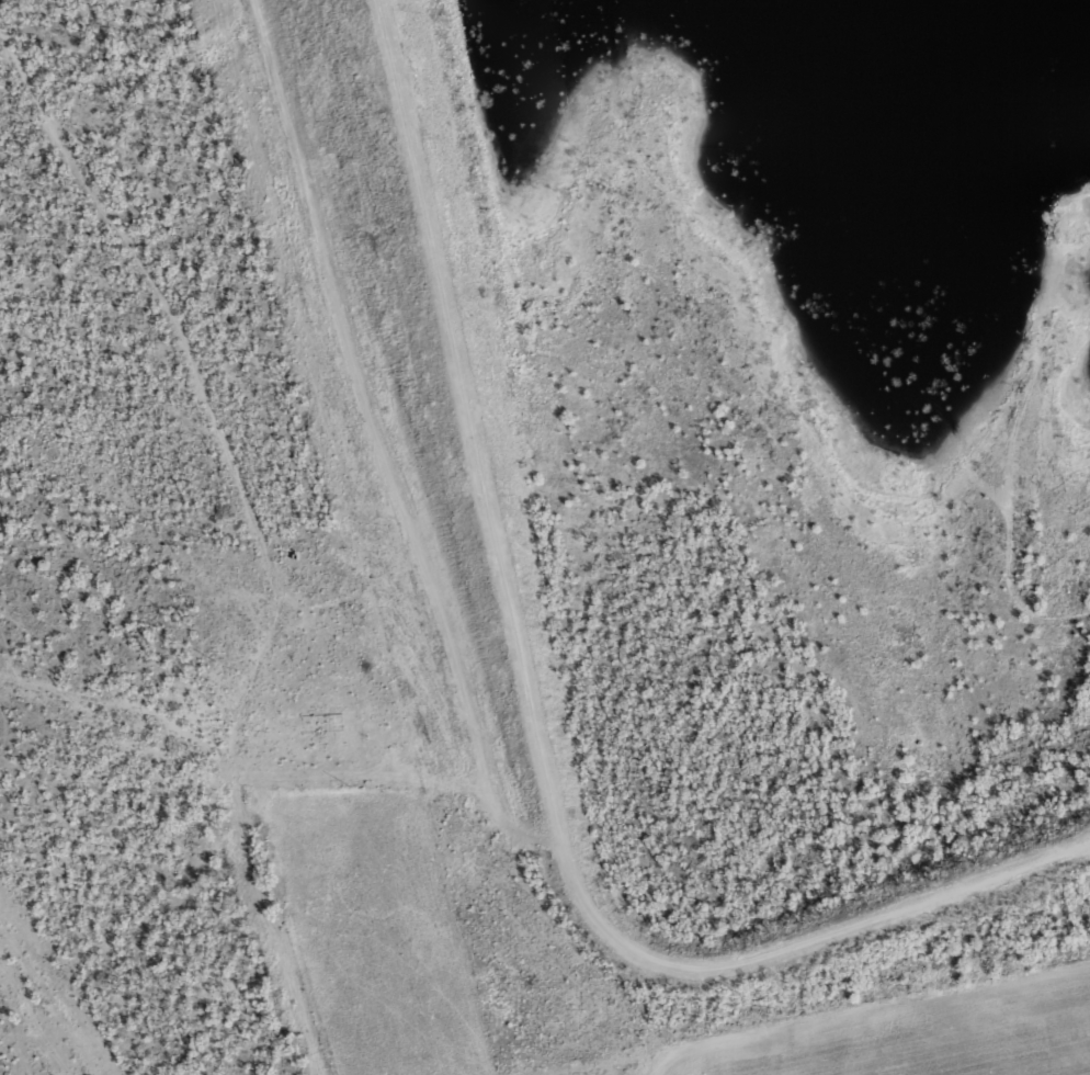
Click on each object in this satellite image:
road: (197, 364)
road: (1040, 595)
road: (226, 801)

